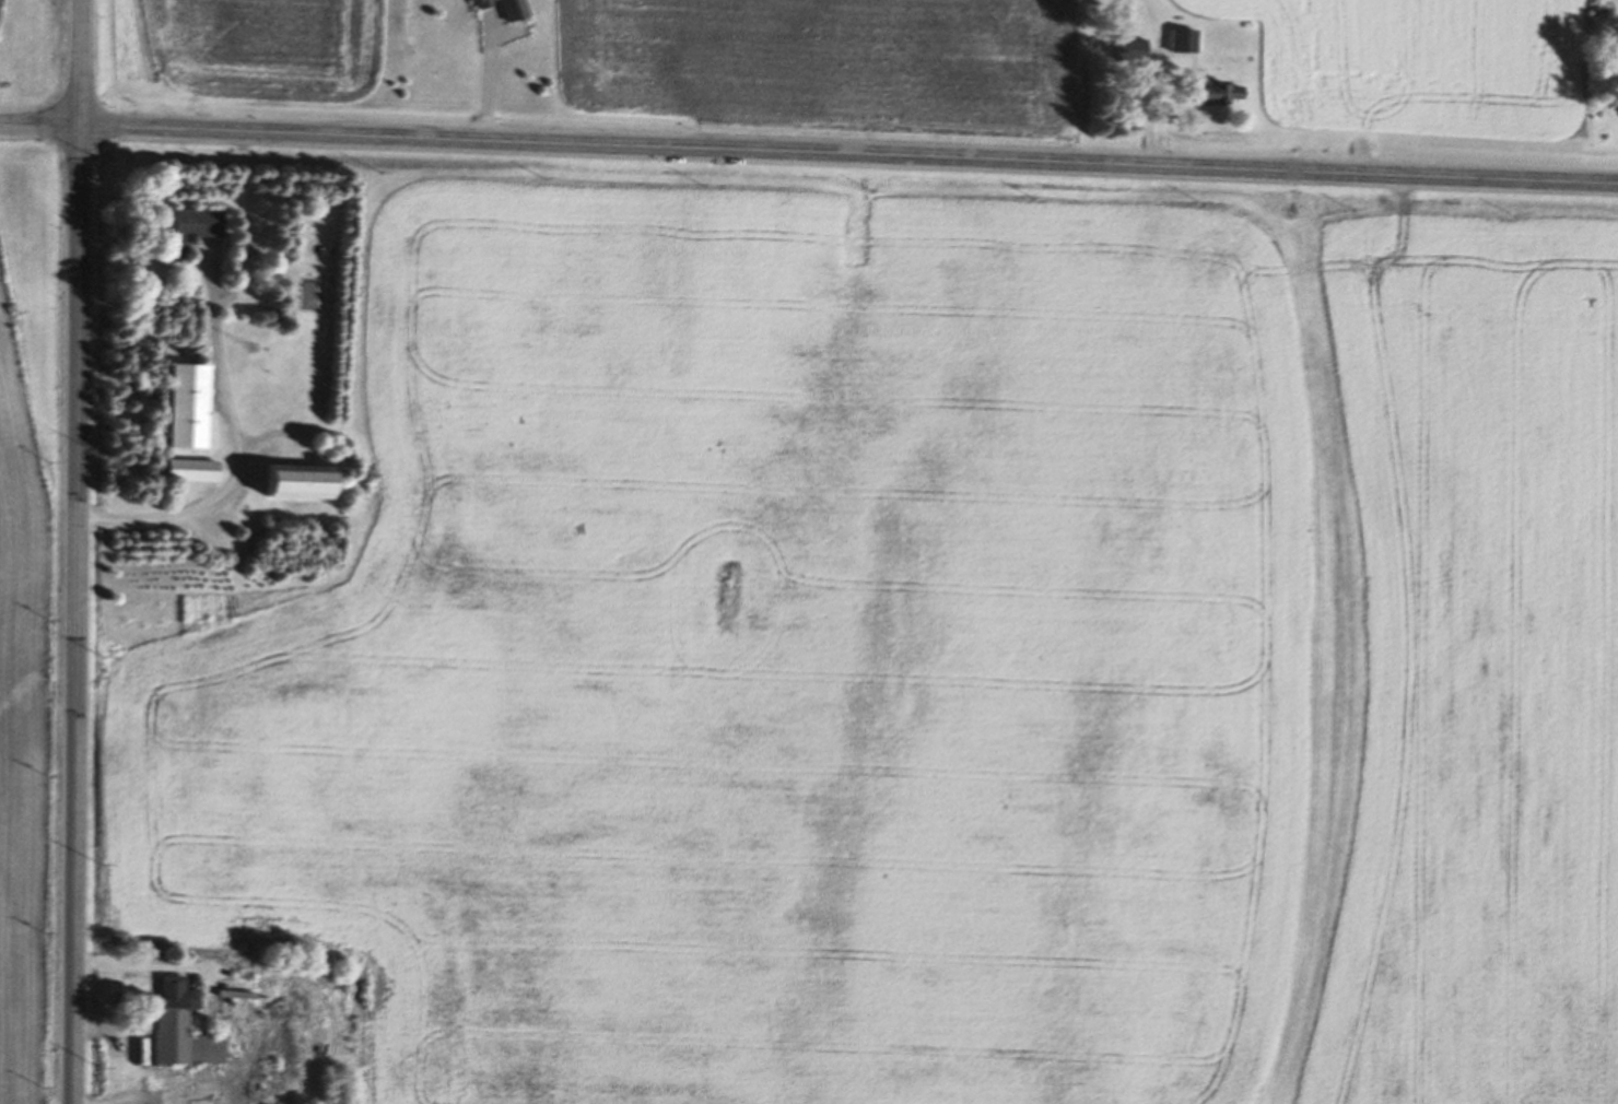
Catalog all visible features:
building: (497, 8)
building: (1171, 43)
building: (1121, 51)
road: (488, 78)
building: (1207, 94)
road: (809, 152)
building: (184, 228)
building: (180, 407)
road: (236, 455)
building: (186, 471)
building: (286, 483)
road: (77, 551)
building: (175, 1027)

